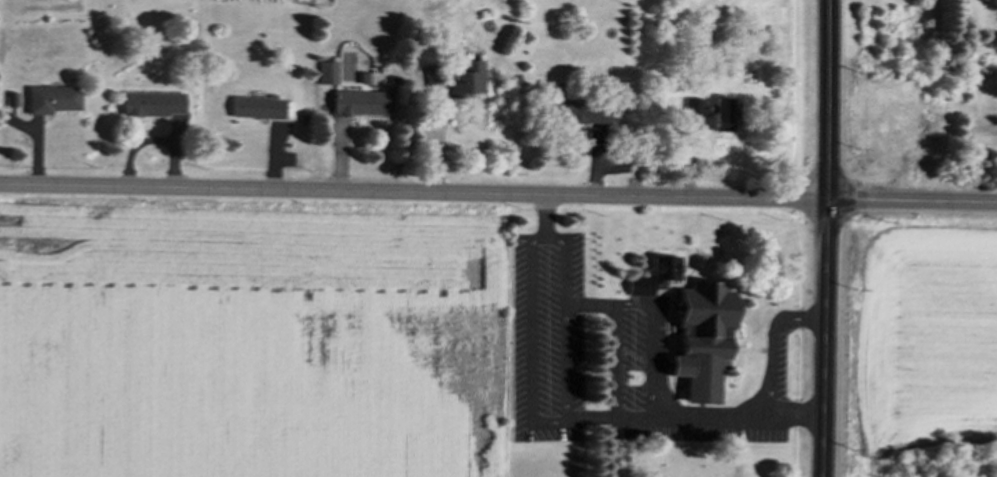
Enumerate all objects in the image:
building: (432, 82)
building: (466, 83)
building: (55, 102)
building: (357, 105)
building: (155, 106)
building: (692, 109)
building: (255, 110)
building: (572, 115)
building: (719, 120)
road: (438, 144)
road: (412, 197)
road: (911, 209)
road: (549, 222)
road: (825, 238)
building: (653, 279)
road: (596, 305)
crop: (254, 339)
road: (618, 343)
building: (695, 343)
road: (776, 349)
road: (655, 361)
road: (533, 364)
road: (636, 418)
road: (794, 418)
road: (711, 419)

